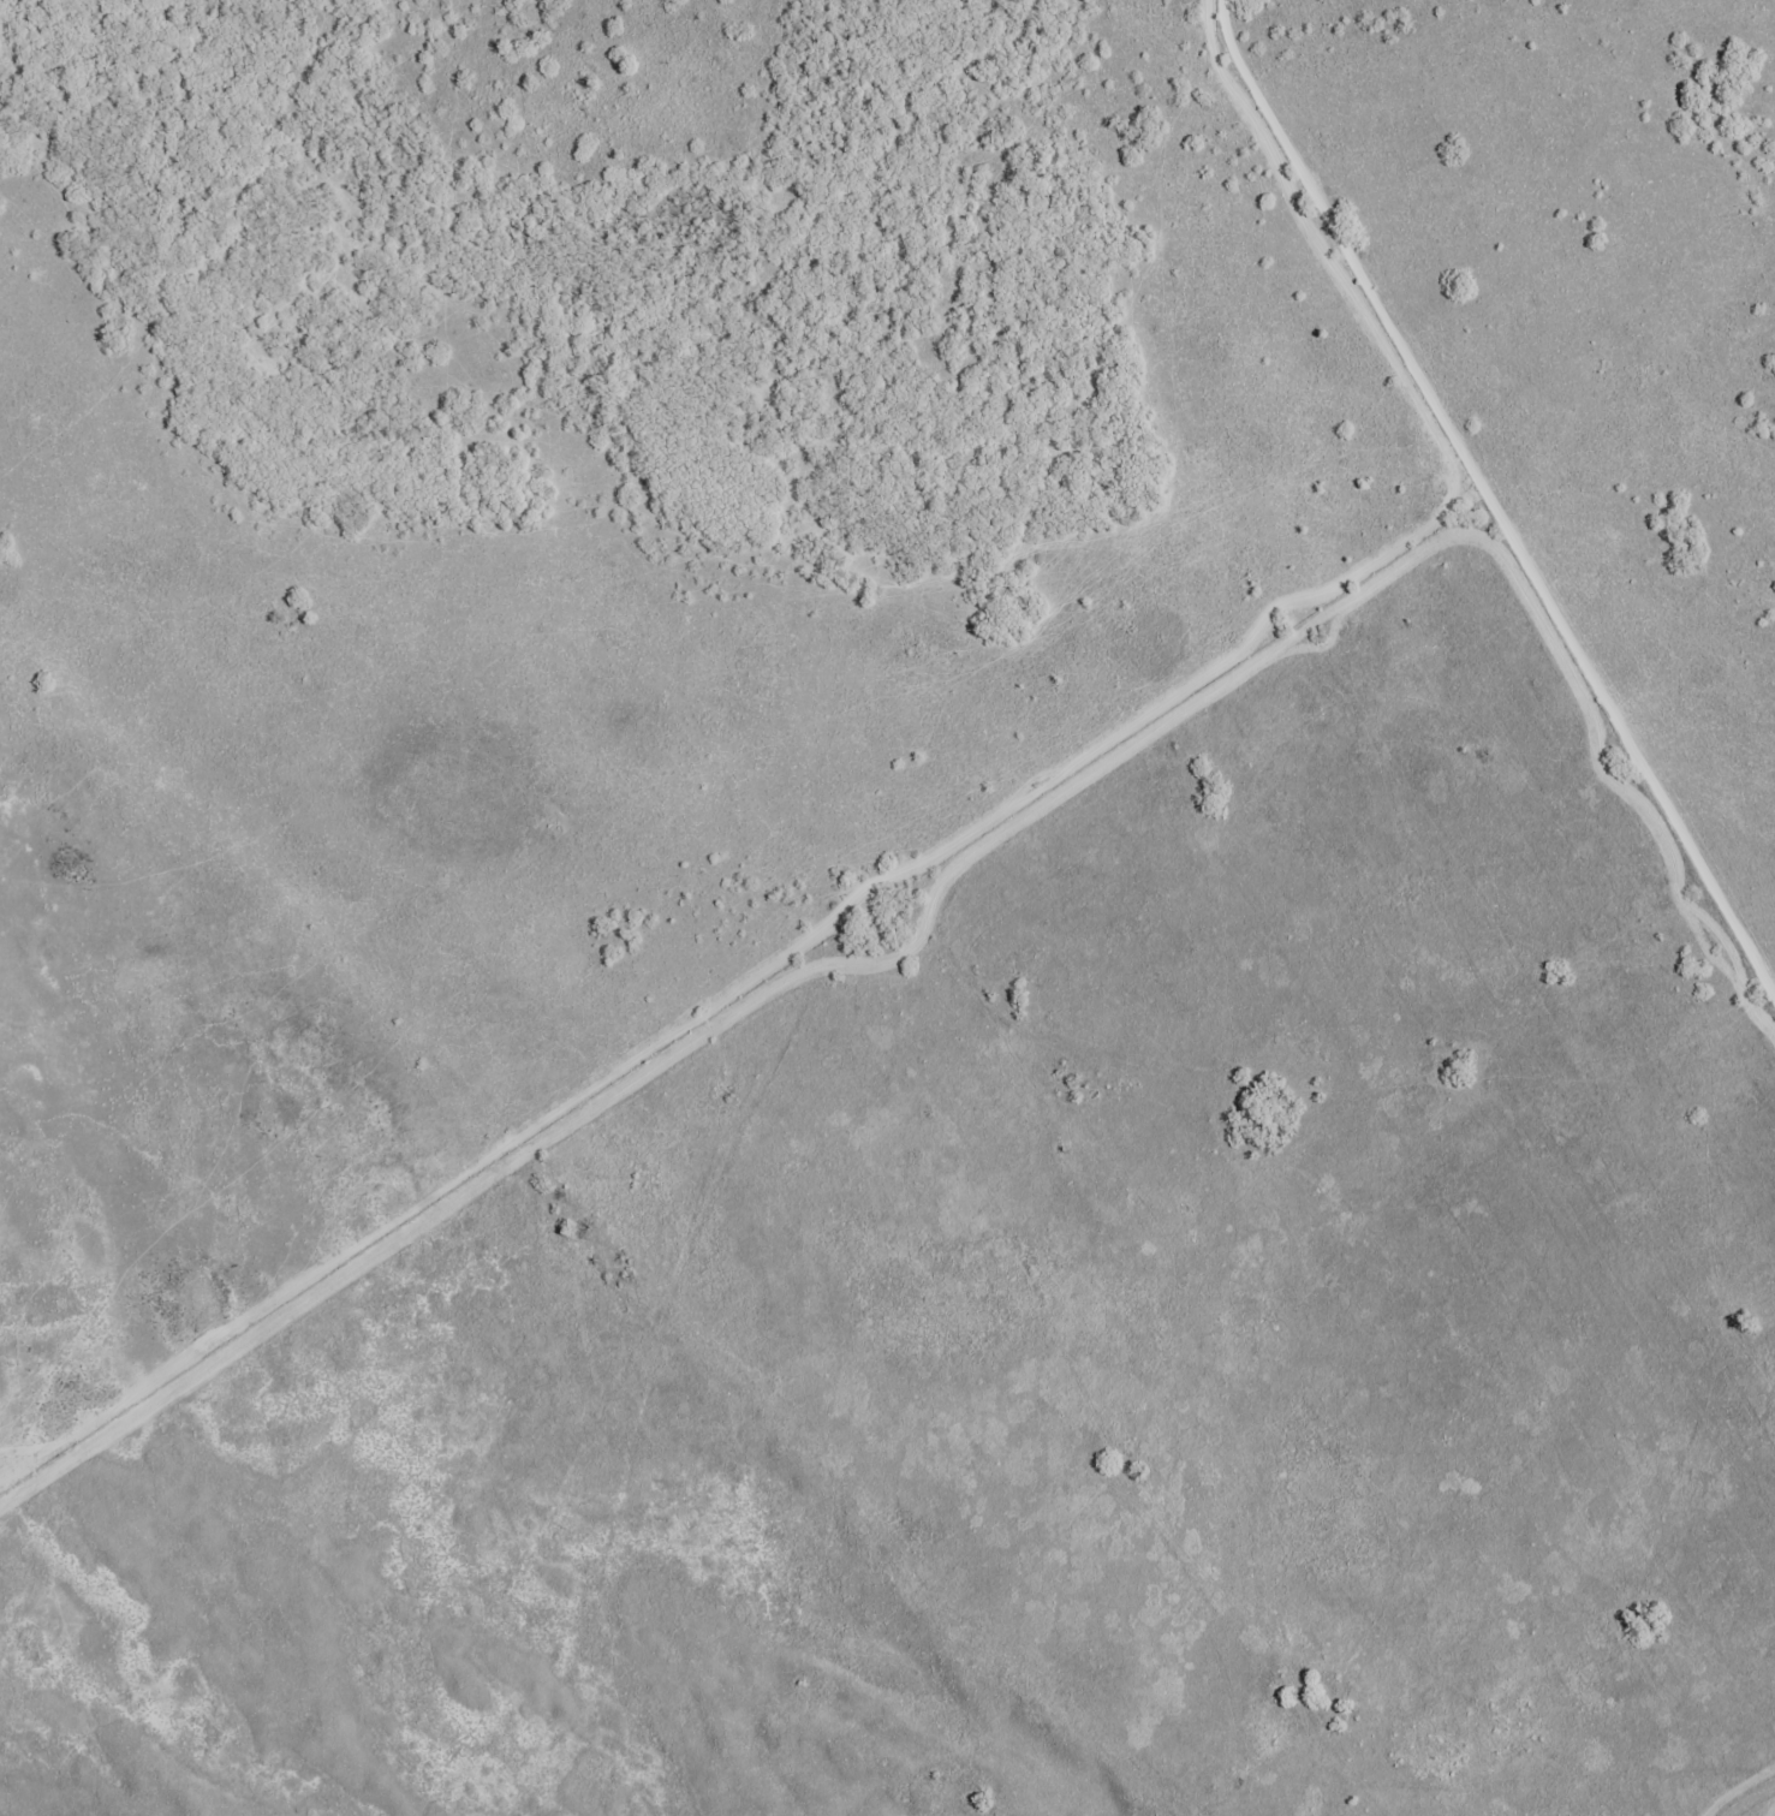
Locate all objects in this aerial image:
road: (1423, 54)

